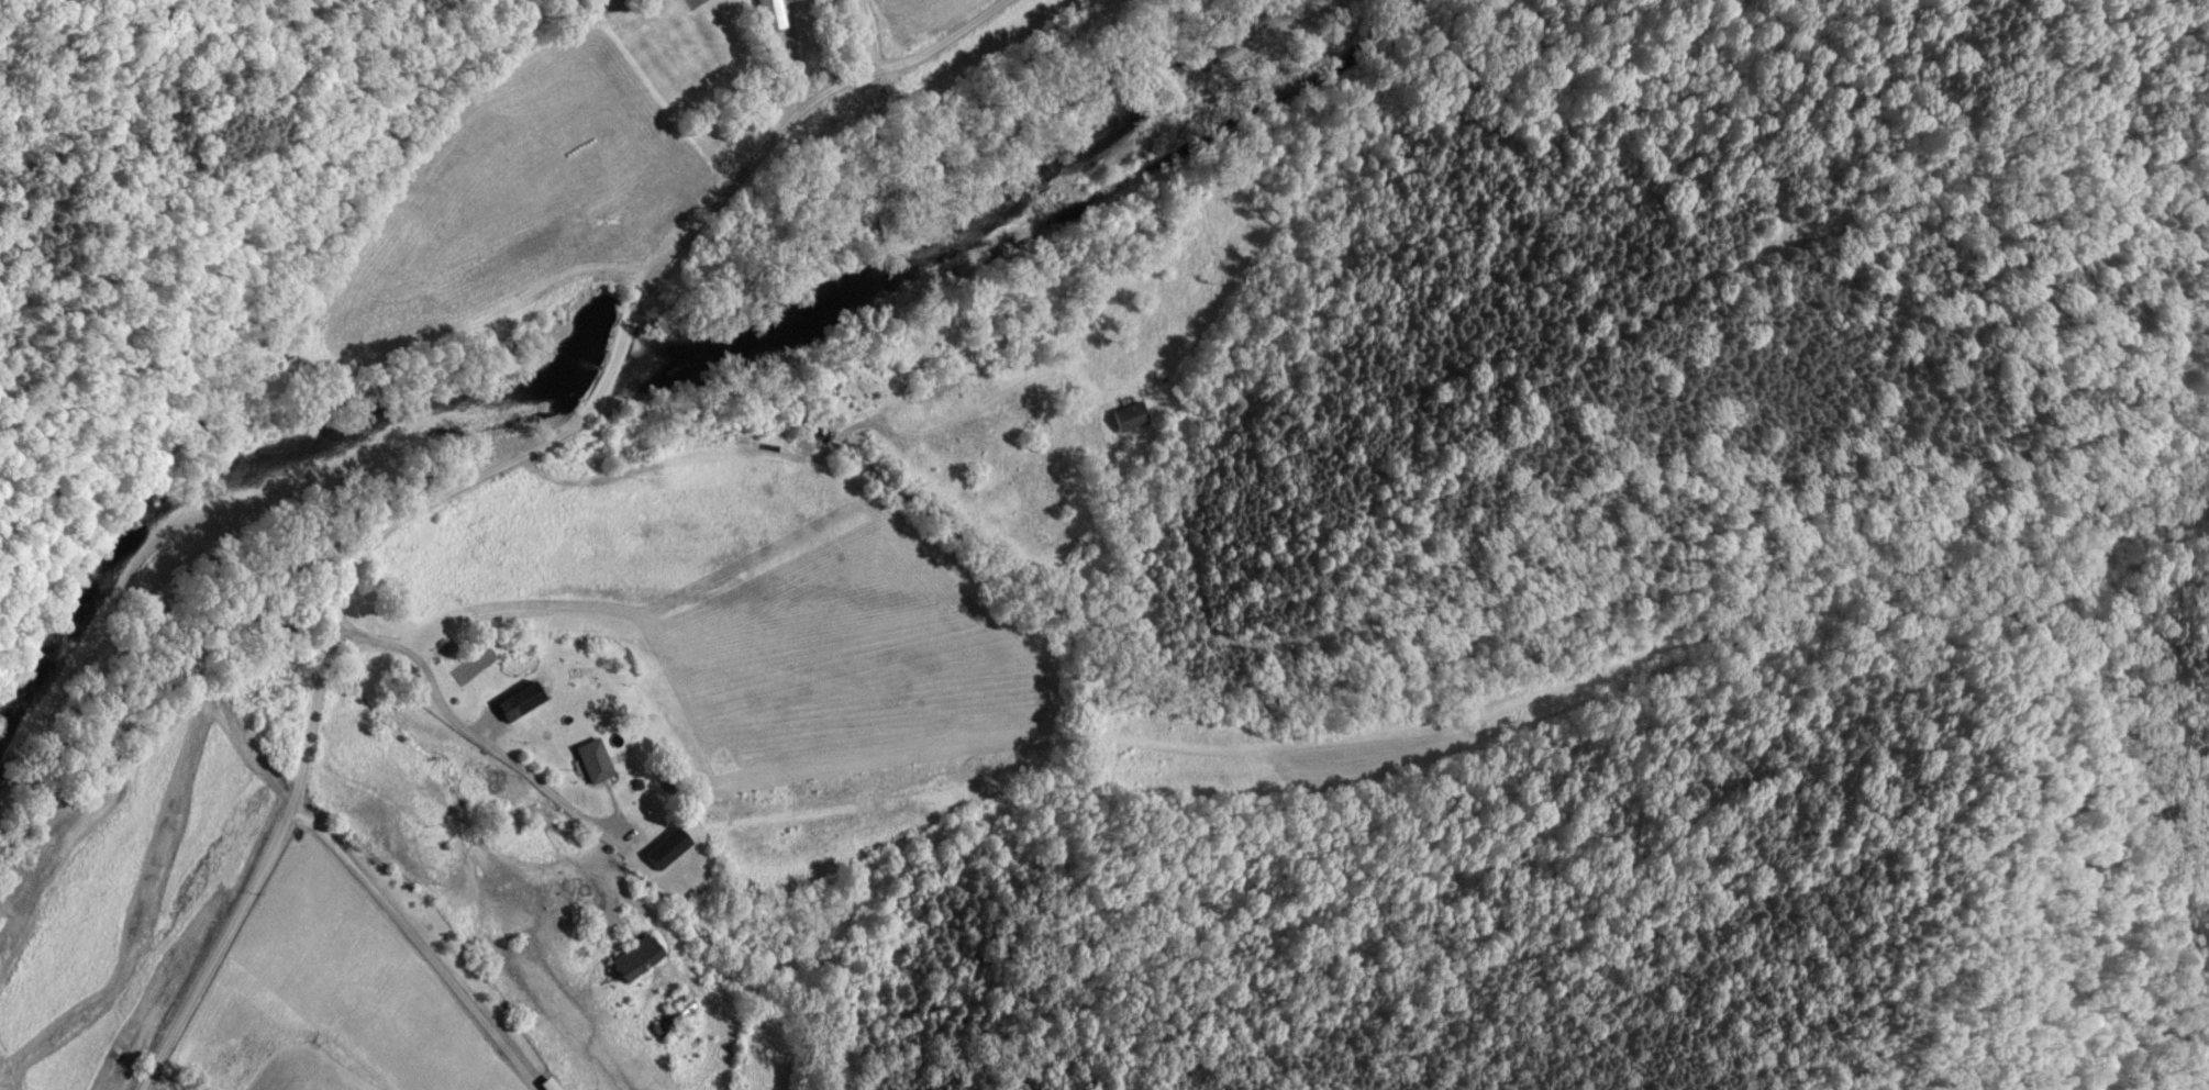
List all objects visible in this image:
building: (766, 15)
crop: (913, 26)
road: (861, 37)
road: (792, 53)
road: (787, 125)
crop: (526, 207)
road: (613, 363)
river: (607, 366)
building: (1125, 420)
road: (315, 694)
building: (512, 704)
crop: (633, 733)
building: (588, 764)
building: (662, 852)
road: (425, 946)
building: (629, 961)

